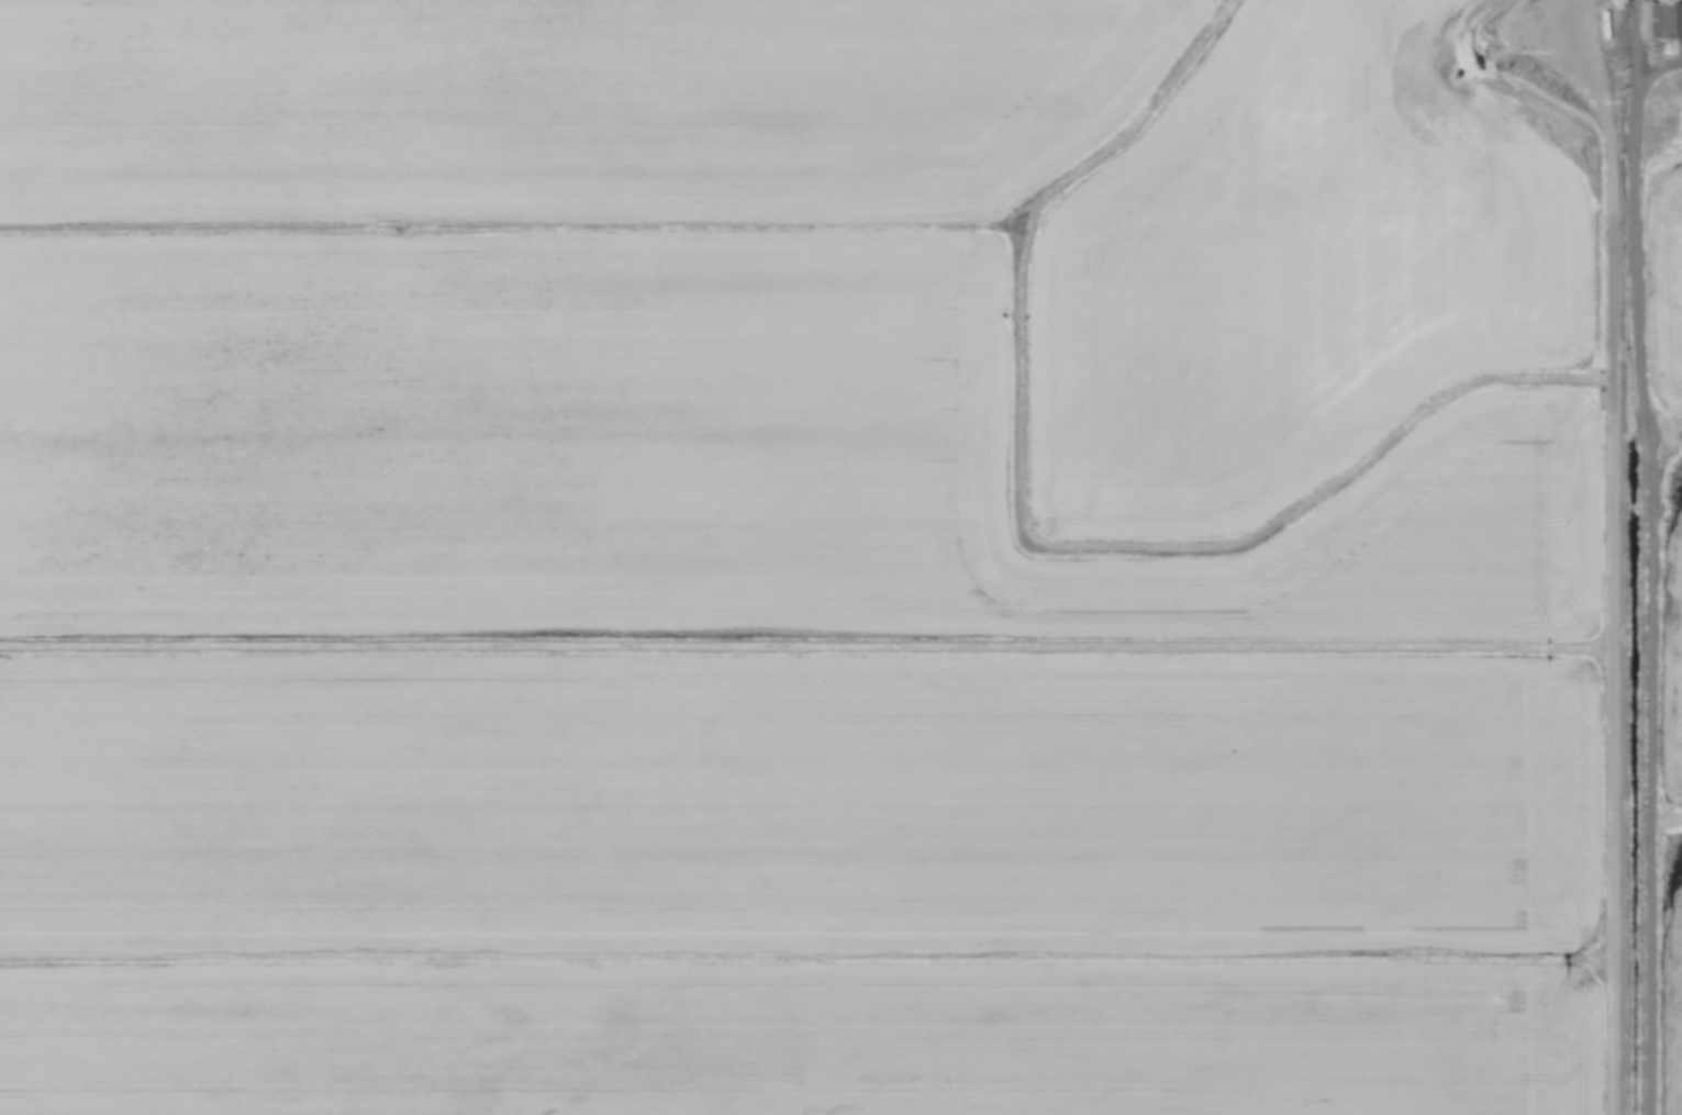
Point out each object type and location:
building: (1666, 19)
road: (1659, 596)

